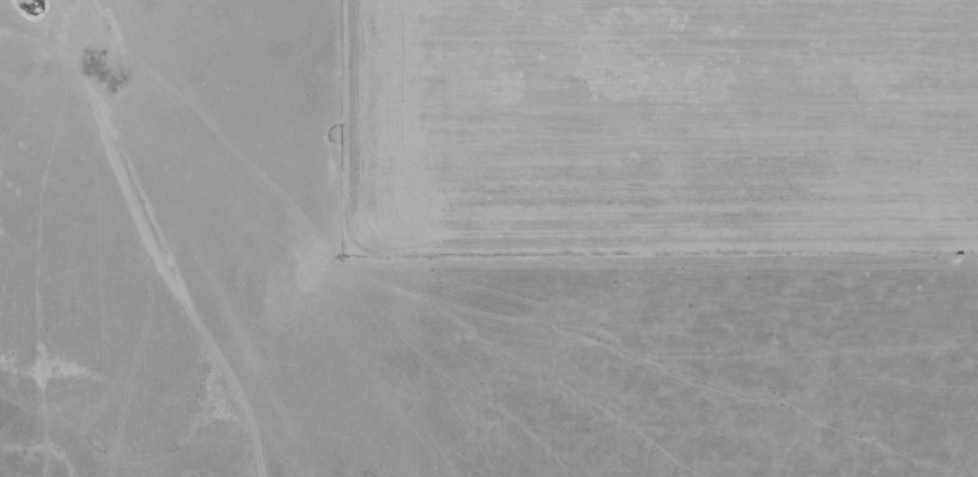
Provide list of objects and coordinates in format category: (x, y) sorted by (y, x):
road: (184, 291)

